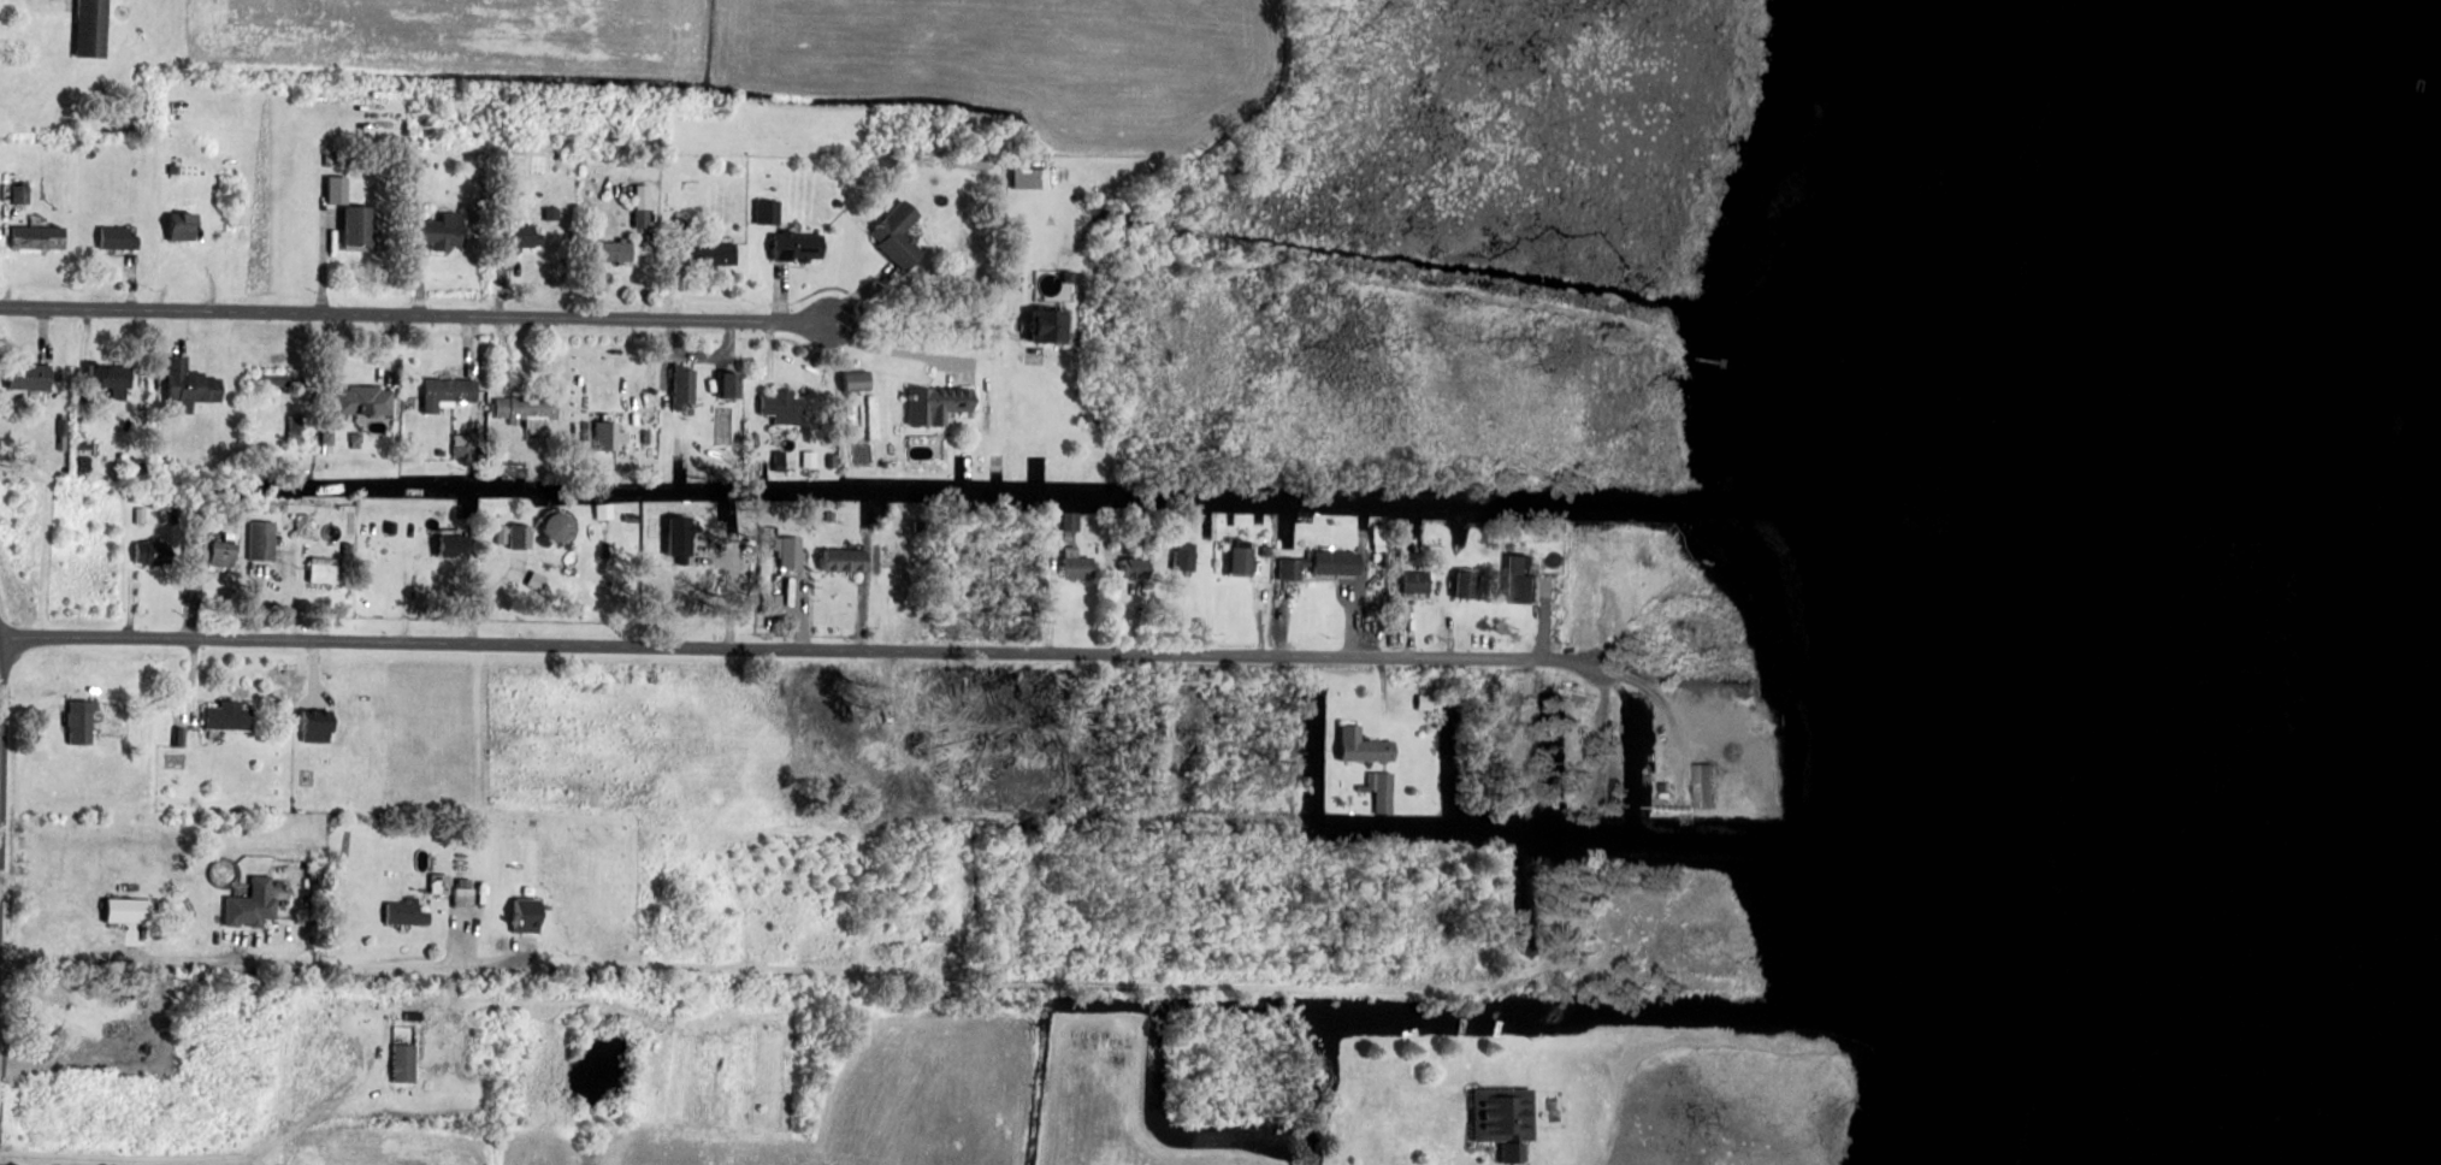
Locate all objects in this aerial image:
park: (308, 7)
building: (91, 26)
crop: (806, 53)
building: (91, 153)
building: (344, 158)
building: (537, 162)
building: (175, 167)
building: (1033, 177)
building: (339, 189)
building: (22, 194)
building: (840, 202)
building: (644, 207)
building: (769, 211)
building: (554, 213)
building: (680, 220)
building: (359, 225)
building: (184, 226)
building: (444, 231)
building: (521, 235)
building: (902, 235)
building: (40, 236)
building: (119, 238)
building: (799, 246)
building: (614, 249)
road: (7, 250)
building: (711, 253)
road: (187, 254)
road: (325, 260)
building: (1070, 274)
road: (644, 276)
road: (418, 278)
road: (501, 282)
road: (135, 283)
road: (680, 284)
road: (780, 291)
road: (862, 292)
road: (415, 313)
road: (918, 323)
building: (1051, 324)
road: (178, 330)
road: (43, 333)
road: (472, 345)
road: (302, 348)
road: (389, 348)
road: (501, 350)
road: (897, 350)
road: (770, 354)
road: (84, 355)
road: (703, 357)
pier: (1704, 357)
road: (643, 361)
road: (668, 362)
building: (30, 377)
building: (112, 378)
building: (272, 378)
building: (858, 382)
building: (190, 384)
building: (733, 384)
building: (685, 386)
building: (449, 390)
building: (365, 400)
road: (483, 402)
building: (938, 404)
building: (785, 406)
building: (531, 407)
building: (586, 424)
building: (299, 426)
building: (64, 433)
building: (610, 434)
building: (329, 437)
building: (356, 437)
building: (648, 437)
building: (85, 445)
building: (460, 445)
road: (679, 453)
building: (780, 457)
building: (810, 459)
building: (833, 460)
pier: (763, 466)
building: (515, 468)
road: (474, 473)
building: (607, 511)
building: (141, 514)
building: (831, 515)
building: (633, 518)
building: (1071, 521)
road: (1259, 521)
road: (733, 522)
road: (867, 524)
building: (306, 525)
building: (920, 525)
building: (392, 526)
building: (561, 526)
road: (1365, 530)
building: (1048, 531)
building: (1381, 533)
building: (503, 534)
road: (1207, 534)
building: (521, 537)
building: (682, 537)
building: (264, 539)
building: (454, 545)
building: (348, 546)
building: (790, 550)
building: (160, 551)
building: (1269, 551)
building: (219, 552)
building: (483, 552)
road: (719, 552)
building: (1187, 556)
building: (1245, 556)
building: (1378, 557)
building: (841, 560)
building: (481, 564)
building: (1080, 564)
building: (1323, 564)
building: (1139, 567)
building: (326, 569)
building: (1531, 579)
building: (538, 580)
building: (1420, 582)
road: (129, 584)
building: (1468, 585)
road: (407, 590)
road: (864, 591)
road: (733, 592)
road: (1257, 592)
road: (490, 593)
road: (292, 596)
road: (1354, 596)
road: (1052, 597)
road: (1207, 601)
road: (193, 602)
building: (773, 604)
road: (799, 613)
road: (1140, 620)
road: (1282, 620)
road: (1413, 629)
road: (1452, 631)
road: (1545, 632)
road: (1620, 635)
road: (802, 649)
road: (314, 672)
road: (191, 681)
road: (37, 694)
road: (1385, 696)
building: (1428, 702)
building: (229, 716)
road: (1674, 720)
building: (81, 721)
building: (317, 726)
road: (0, 728)
building: (179, 735)
building: (1365, 746)
building: (1709, 786)
building: (1383, 791)
building: (441, 882)
building: (465, 893)
building: (254, 905)
building: (130, 910)
building: (407, 912)
building: (527, 916)
road: (463, 936)
road: (135, 942)
road: (243, 946)
road: (526, 948)
road: (267, 963)
road: (1075, 983)
building: (414, 1016)
building: (479, 1033)
building: (406, 1063)
crop: (1106, 1096)
crop: (863, 1106)
building: (1506, 1120)
road: (299, 1126)
crop: (382, 1147)
road: (126, 1155)

